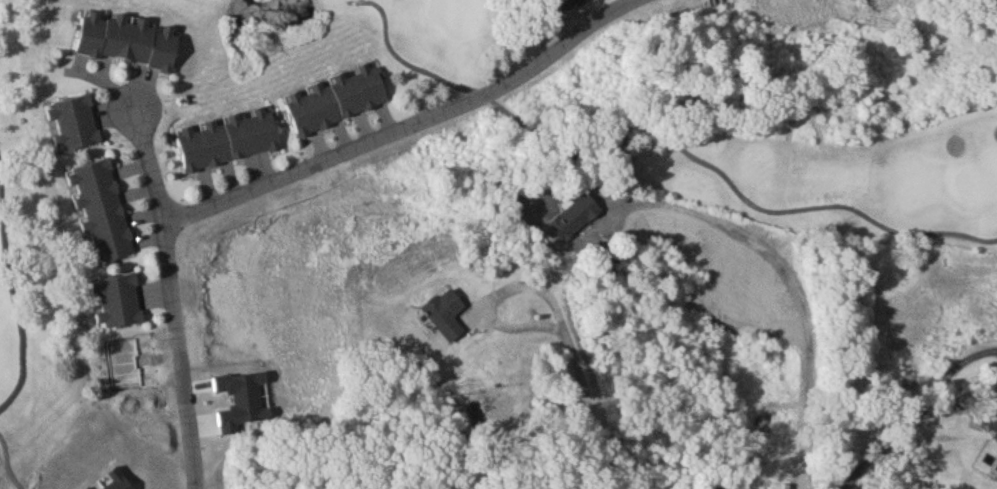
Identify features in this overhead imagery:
park: (2, 15)
building: (126, 39)
building: (335, 98)
building: (72, 122)
park: (684, 123)
road: (408, 128)
building: (227, 138)
building: (99, 211)
building: (573, 216)
road: (793, 286)
road: (174, 291)
building: (116, 302)
building: (445, 313)
road: (573, 353)
park: (63, 379)
building: (990, 417)
road: (898, 438)

